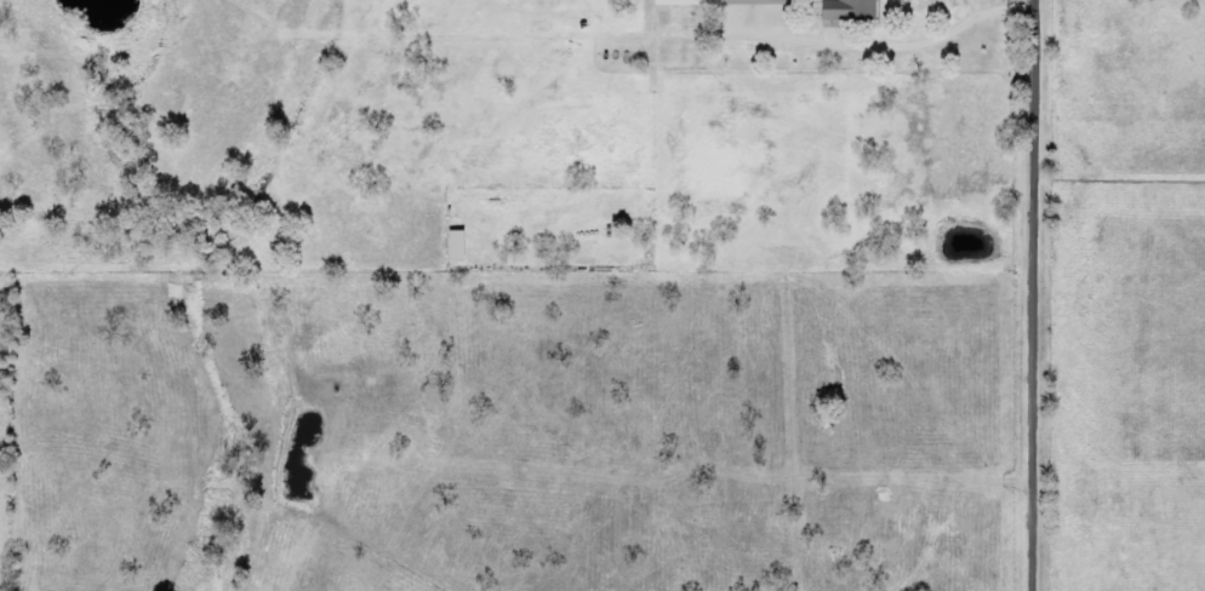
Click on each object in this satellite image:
building: (726, 2)
building: (858, 11)
building: (466, 246)
road: (1032, 295)

